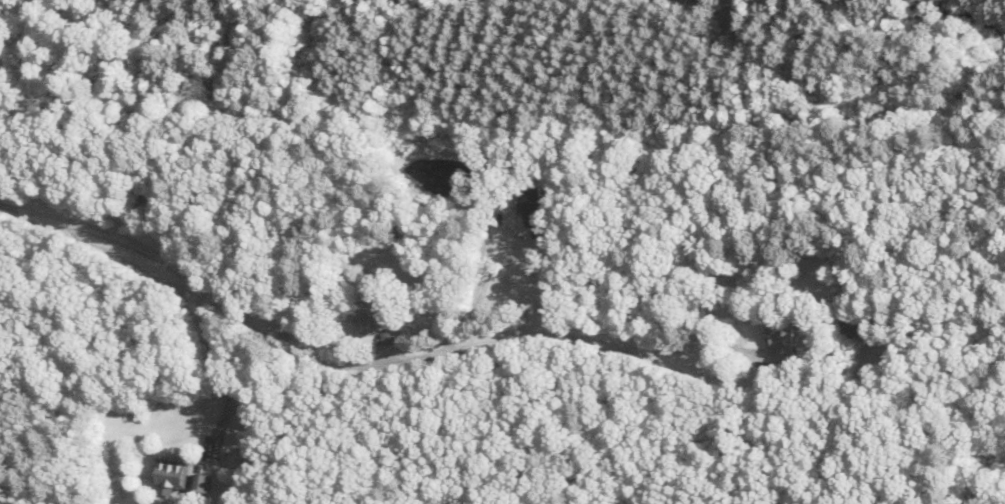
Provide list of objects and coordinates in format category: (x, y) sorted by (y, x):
building: (147, 198)
building: (365, 317)
building: (859, 326)
building: (780, 341)
road: (352, 363)
building: (259, 425)
building: (170, 474)
building: (200, 483)
building: (112, 491)

